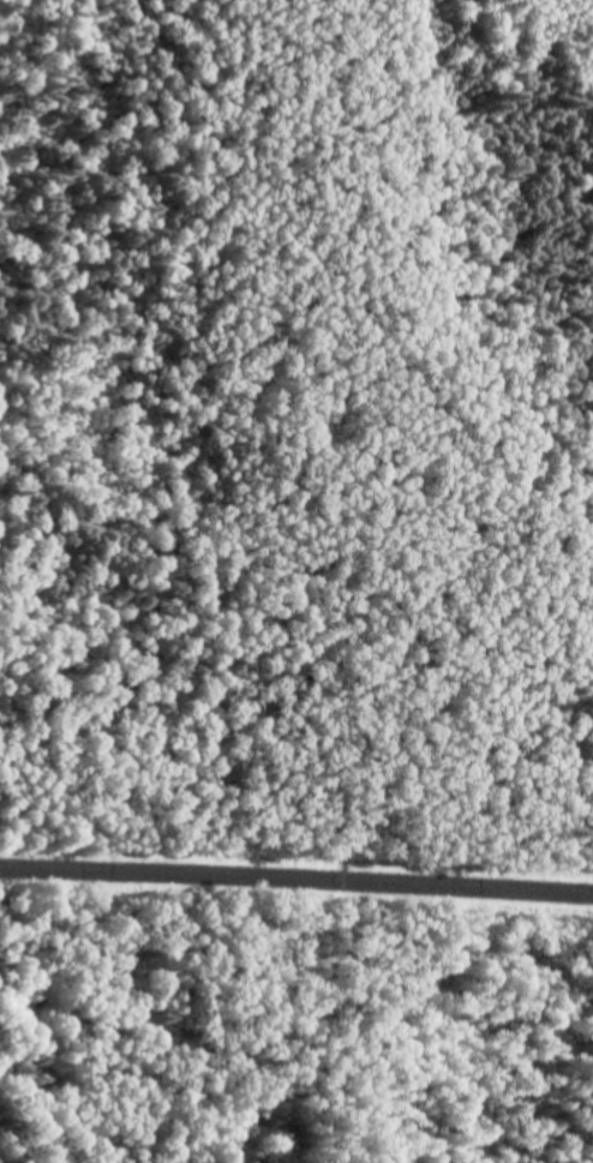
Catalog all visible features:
road: (296, 885)

